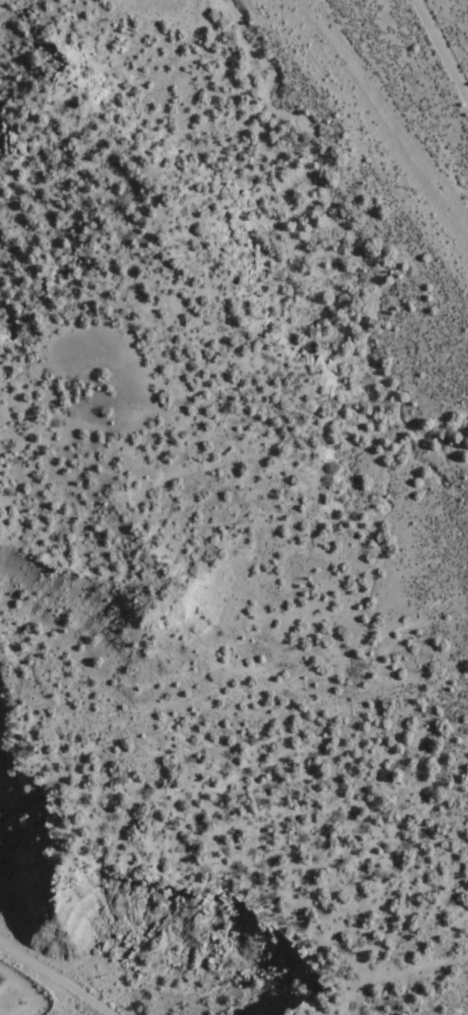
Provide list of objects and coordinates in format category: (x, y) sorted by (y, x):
road: (420, 88)
road: (433, 1009)
road: (12, 1010)

